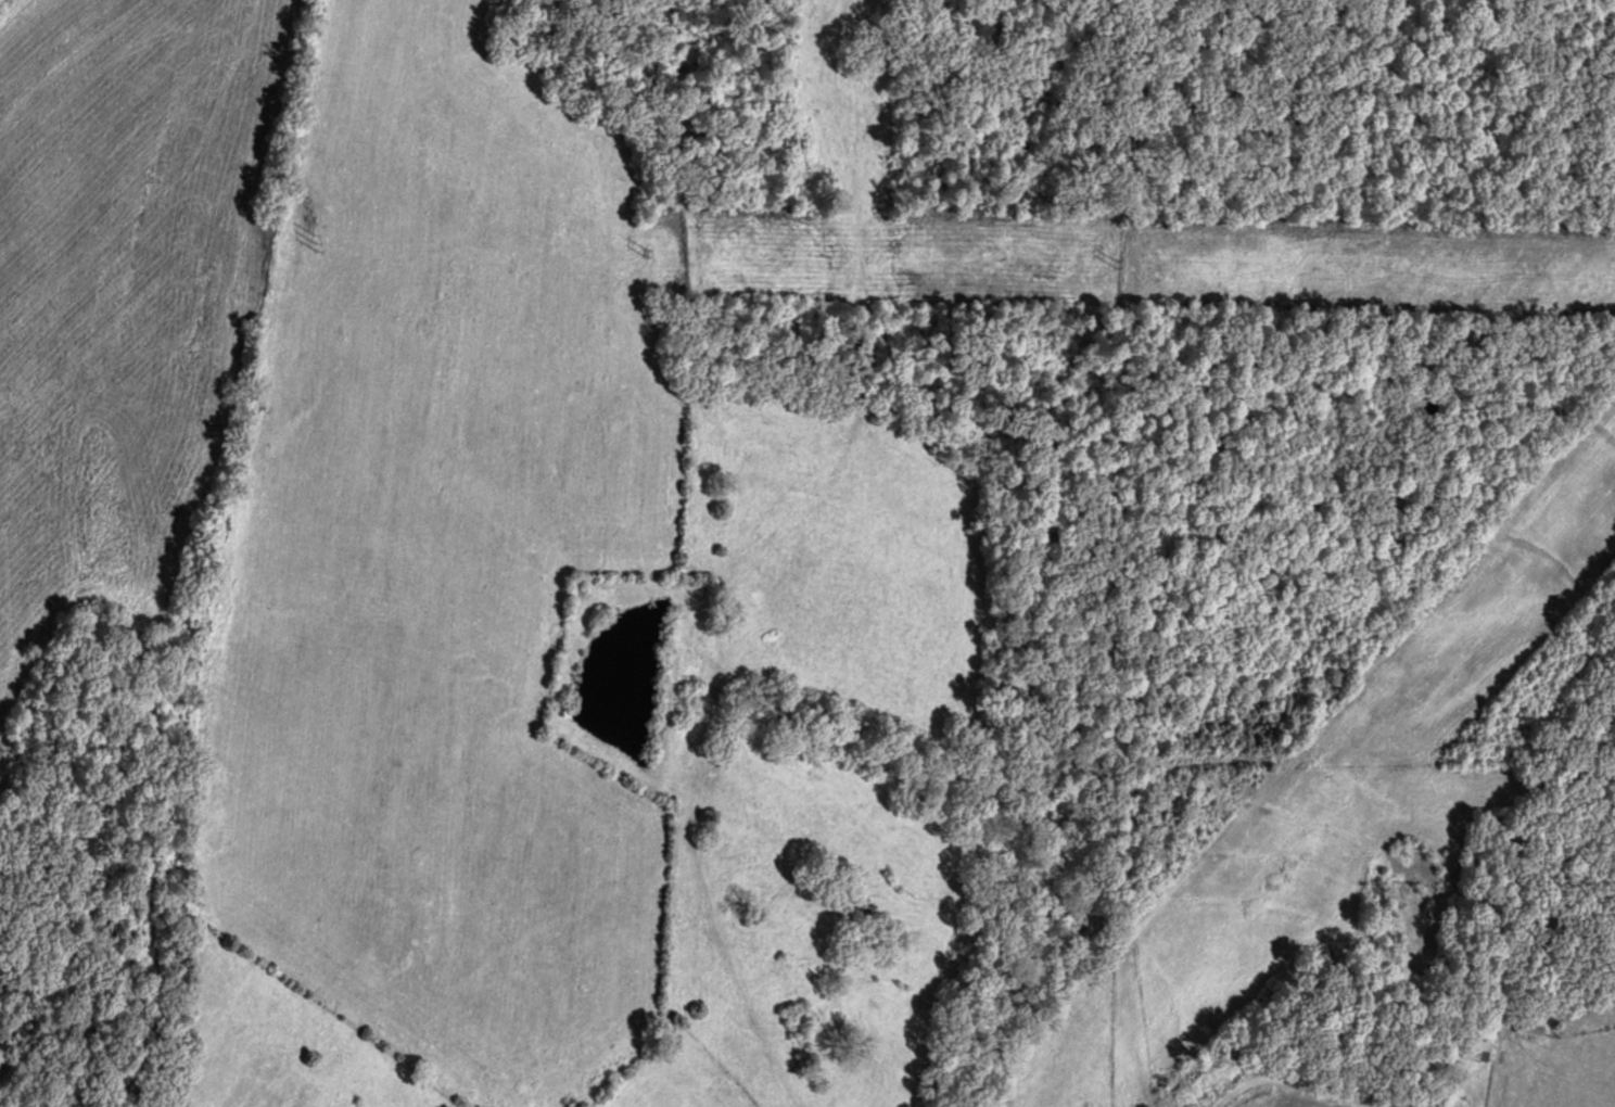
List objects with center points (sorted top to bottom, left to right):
building: (1529, 1025)
building: (1475, 1048)

